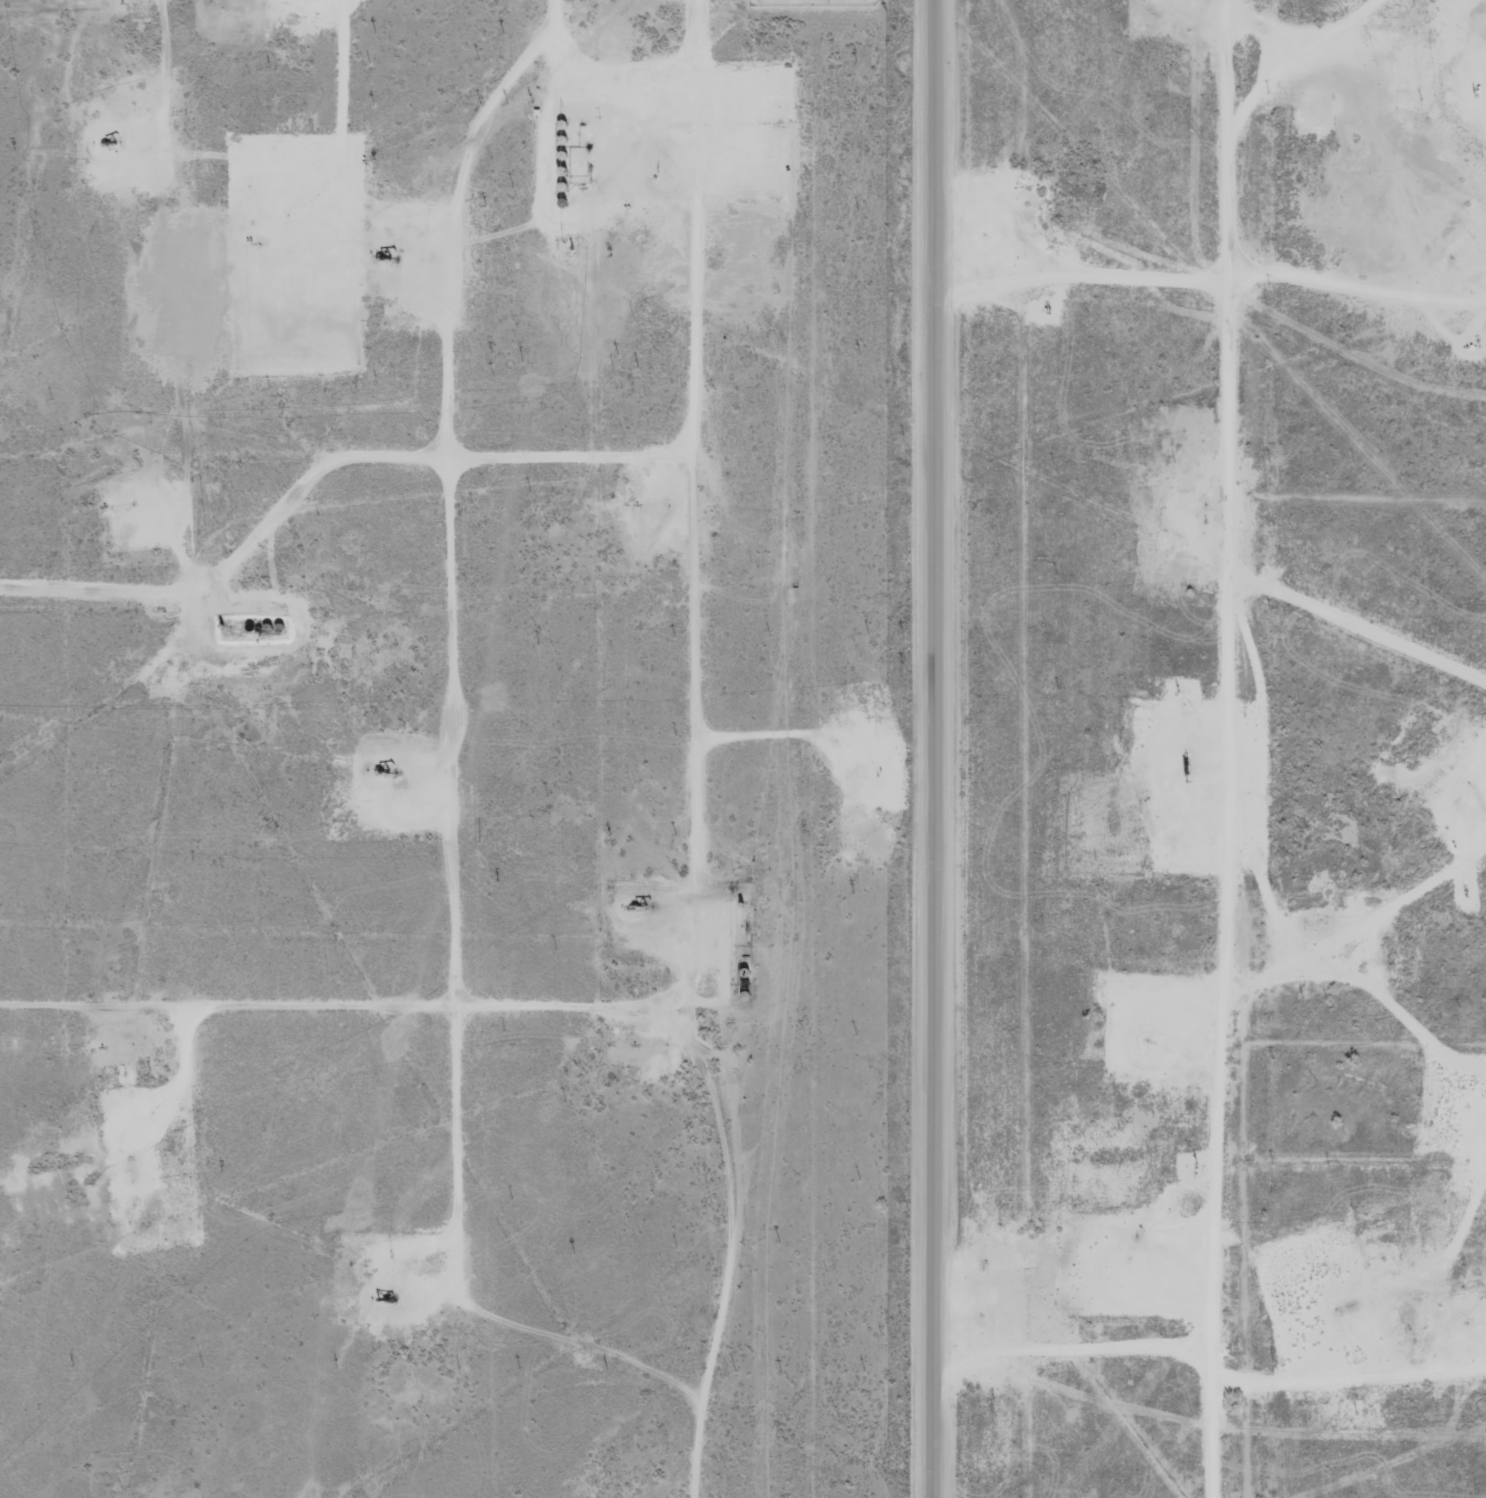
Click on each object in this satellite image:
road: (1363, 250)
road: (335, 473)
road: (935, 749)
road: (1231, 749)
road: (694, 750)
road: (346, 985)

